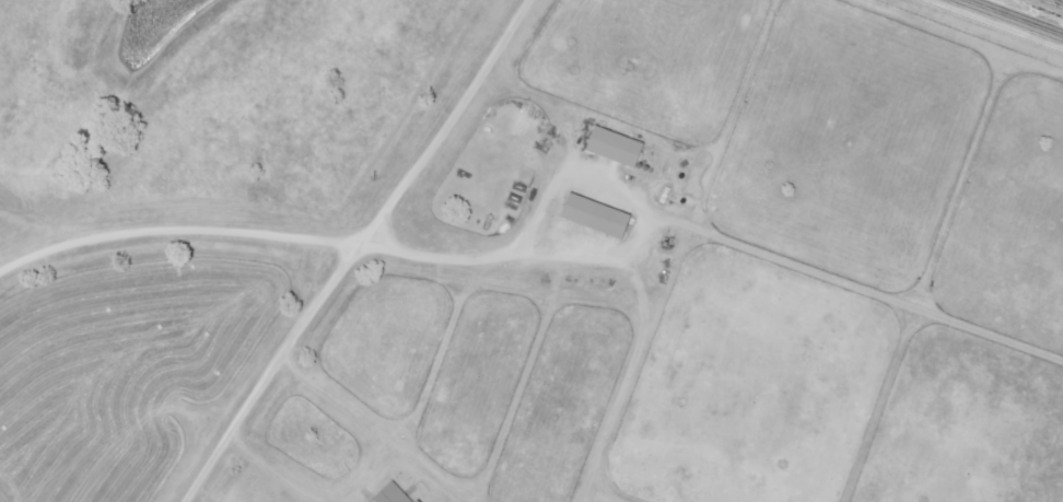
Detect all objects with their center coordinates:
road: (1013, 17)
road: (519, 21)
road: (581, 142)
building: (611, 145)
road: (623, 178)
building: (592, 214)
road: (710, 226)
road: (180, 235)
road: (349, 271)
building: (390, 493)

